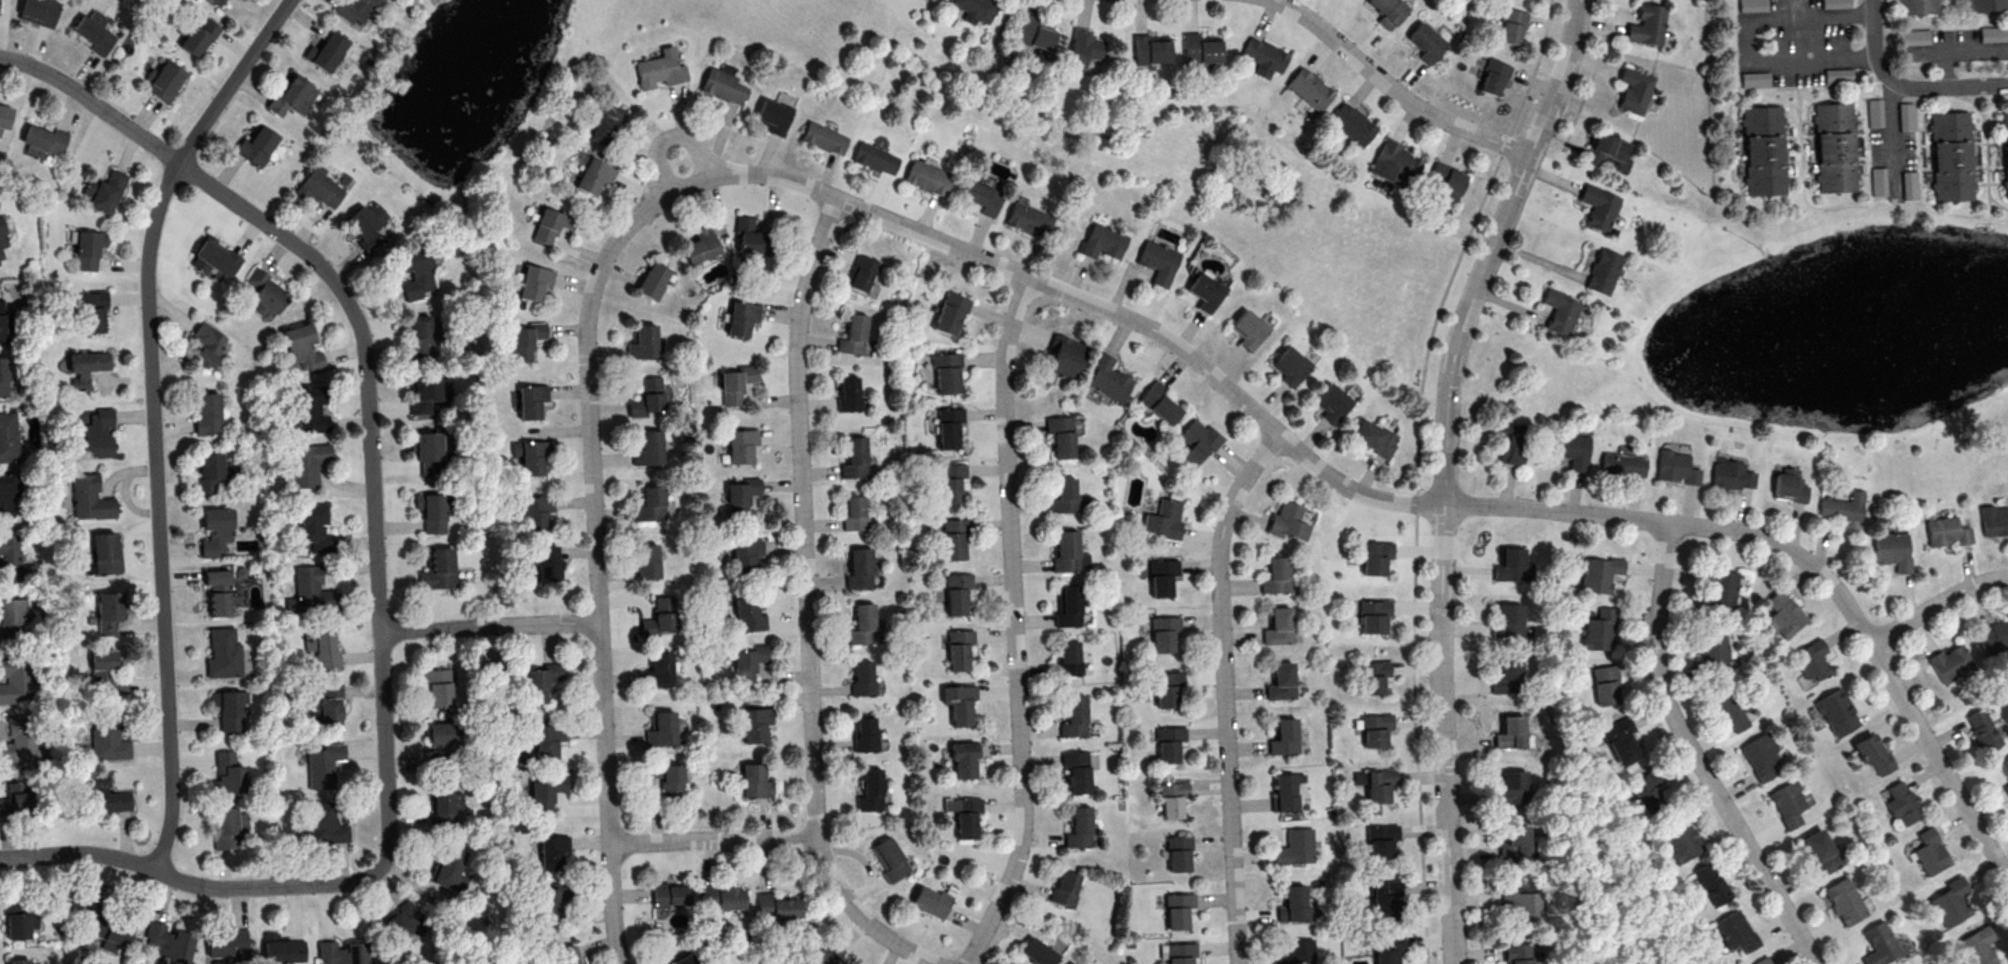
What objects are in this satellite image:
building: (928, 0)
building: (218, 1)
building: (1836, 3)
building: (1753, 5)
building: (1987, 5)
building: (1915, 7)
building: (977, 8)
building: (356, 9)
building: (40, 11)
building: (1388, 11)
building: (1647, 24)
building: (1512, 25)
building: (95, 31)
building: (1036, 33)
building: (1992, 34)
building: (1916, 36)
building: (199, 37)
road: (1874, 37)
building: (1427, 42)
road: (1746, 45)
building: (1085, 47)
building: (1152, 49)
building: (1201, 49)
building: (327, 51)
building: (1265, 54)
road: (1967, 54)
building: (661, 69)
road: (1594, 70)
building: (1841, 76)
building: (1495, 77)
building: (1756, 79)
building: (167, 80)
road: (1946, 85)
building: (721, 87)
building: (1310, 88)
road: (1395, 88)
building: (1635, 90)
building: (296, 96)
road: (1020, 101)
building: (1876, 112)
building: (5, 115)
building: (774, 116)
building: (1908, 116)
building: (606, 122)
building: (1352, 124)
road: (1892, 132)
building: (822, 139)
building: (44, 141)
building: (257, 144)
road: (698, 147)
park: (1012, 147)
building: (1833, 148)
building: (1606, 150)
building: (2004, 151)
building: (1762, 152)
building: (1949, 158)
building: (873, 162)
road: (658, 163)
building: (1396, 164)
building: (594, 175)
building: (926, 179)
building: (1449, 180)
building: (1879, 184)
building: (1911, 185)
building: (321, 186)
building: (105, 191)
building: (981, 196)
building: (1600, 207)
building: (1028, 221)
building: (553, 224)
building: (368, 225)
building: (750, 236)
building: (2, 242)
building: (1102, 243)
building: (701, 245)
building: (89, 248)
building: (214, 260)
building: (1157, 263)
building: (1603, 270)
building: (417, 271)
building: (862, 273)
building: (653, 280)
building: (535, 282)
building: (265, 291)
building: (1205, 291)
building: (92, 310)
building: (1560, 311)
building: (950, 313)
building: (738, 317)
building: (2, 320)
building: (1248, 331)
building: (853, 334)
building: (419, 336)
building: (526, 340)
building: (640, 341)
building: (208, 343)
building: (303, 347)
building: (1065, 355)
building: (1289, 364)
building: (86, 367)
road: (588, 367)
building: (945, 372)
building: (3, 376)
building: (1109, 379)
building: (731, 387)
building: (429, 392)
building: (846, 395)
building: (648, 396)
building: (531, 400)
building: (1333, 402)
building: (1160, 403)
building: (311, 409)
building: (208, 414)
road: (156, 416)
building: (946, 428)
building: (98, 433)
building: (8, 436)
building: (1059, 436)
building: (1375, 437)
building: (1198, 441)
building: (1511, 442)
building: (739, 444)
building: (646, 448)
building: (1570, 449)
building: (428, 451)
building: (852, 456)
building: (532, 457)
building: (307, 463)
building: (1622, 465)
building: (1672, 467)
building: (228, 470)
road: (1418, 470)
road: (1445, 470)
building: (210, 471)
building: (1731, 474)
building: (949, 483)
building: (1786, 484)
building: (6, 494)
building: (1061, 496)
building: (90, 497)
building: (736, 498)
road: (1410, 499)
building: (649, 504)
building: (1841, 505)
building: (537, 511)
building: (431, 512)
building: (851, 513)
building: (1165, 519)
building: (1288, 521)
building: (1853, 524)
building: (314, 527)
building: (216, 530)
building: (1947, 531)
building: (952, 537)
building: (1892, 549)
building: (1063, 551)
building: (106, 552)
building: (743, 553)
building: (1376, 557)
building: (12, 558)
building: (647, 560)
building: (547, 562)
road: (376, 563)
building: (1512, 565)
building: (857, 568)
building: (438, 569)
building: (1275, 574)
building: (1597, 574)
building: (1160, 577)
building: (310, 591)
building: (220, 593)
building: (955, 593)
road: (1936, 603)
road: (806, 606)
building: (1066, 606)
building: (108, 611)
building: (745, 615)
building: (1375, 615)
building: (1784, 615)
building: (661, 616)
building: (11, 617)
building: (1505, 620)
building: (860, 623)
road: (1013, 623)
road: (489, 625)
building: (1277, 625)
building: (1599, 630)
building: (1162, 634)
building: (323, 647)
building: (957, 649)
building: (1712, 650)
building: (223, 653)
building: (1070, 657)
building: (1812, 661)
building: (1949, 662)
building: (743, 663)
building: (656, 671)
building: (107, 672)
building: (1372, 676)
building: (1505, 677)
building: (13, 678)
building: (863, 679)
building: (1280, 680)
building: (537, 685)
building: (437, 687)
building: (1165, 688)
road: (1226, 691)
building: (1606, 692)
building: (960, 704)
building: (330, 706)
building: (1730, 708)
building: (228, 709)
building: (314, 710)
building: (1838, 712)
building: (1072, 716)
building: (753, 722)
building: (659, 728)
building: (1373, 730)
building: (1983, 730)
building: (1509, 733)
building: (864, 734)
building: (1283, 735)
building: (18, 736)
building: (108, 736)
building: (443, 737)
building: (548, 740)
building: (1618, 741)
building: (1167, 745)
building: (1874, 752)
road: (1693, 755)
building: (1759, 758)
building: (963, 761)
building: (323, 764)
building: (2004, 765)
building: (1077, 770)
building: (228, 772)
building: (673, 781)
building: (755, 781)
building: (1376, 785)
building: (2006, 786)
building: (1510, 787)
building: (868, 790)
building: (1282, 791)
building: (546, 792)
road: (607, 792)
building: (108, 796)
building: (1171, 799)
building: (1904, 799)
building: (13, 805)
building: (445, 805)
building: (1788, 805)
building: (965, 818)
building: (326, 824)
building: (1077, 827)
building: (226, 828)
building: (1679, 836)
building: (1378, 840)
road: (715, 841)
building: (1513, 842)
building: (1294, 846)
building: (553, 851)
building: (1817, 851)
building: (1929, 852)
building: (1176, 853)
building: (891, 859)
building: (449, 869)
building: (1713, 882)
building: (1066, 888)
building: (671, 894)
building: (1382, 895)
building: (722, 897)
building: (1843, 900)
building: (1948, 900)
building: (552, 901)
building: (932, 901)
building: (1291, 901)
building: (1523, 904)
building: (778, 906)
building: (1176, 910)
road: (1480, 918)
building: (404, 919)
building: (21, 924)
building: (1733, 930)
building: (108, 933)
building: (168, 943)
building: (228, 943)
building: (1879, 944)
building: (1977, 945)
building: (1384, 947)
building: (282, 948)
building: (1296, 951)
building: (1036, 952)
building: (1179, 952)
building: (341, 953)
building: (1515, 953)
building: (18, 961)
building: (690, 961)
building: (1759, 961)
building: (830, 962)
building: (1070, 963)
building: (1073, 963)
building: (1770, 963)

